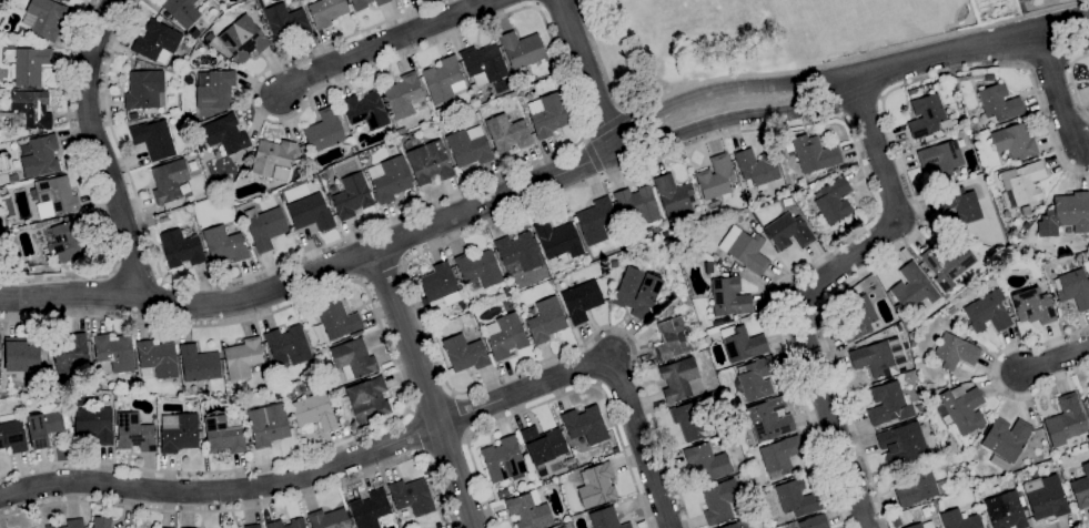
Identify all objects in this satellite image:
building: (64, 0)
building: (365, 3)
building: (260, 4)
building: (183, 11)
building: (325, 12)
building: (42, 19)
building: (285, 23)
building: (209, 38)
building: (242, 39)
building: (155, 42)
road: (385, 44)
park: (684, 44)
building: (184, 49)
building: (521, 50)
building: (483, 64)
building: (28, 65)
road: (796, 71)
road: (583, 74)
building: (443, 80)
road: (1072, 80)
building: (950, 81)
building: (143, 90)
building: (214, 90)
road: (1057, 91)
building: (911, 92)
building: (520, 93)
building: (403, 97)
building: (998, 103)
building: (365, 110)
building: (27, 113)
building: (547, 115)
building: (925, 115)
building: (323, 131)
building: (401, 132)
building: (507, 133)
building: (224, 134)
building: (153, 140)
building: (400, 140)
building: (1012, 143)
building: (467, 148)
road: (98, 149)
building: (303, 150)
road: (557, 153)
building: (813, 153)
building: (40, 158)
building: (940, 158)
building: (273, 160)
building: (428, 163)
building: (756, 167)
building: (988, 176)
road: (544, 177)
building: (715, 179)
building: (13, 180)
building: (391, 180)
building: (169, 181)
road: (592, 183)
building: (1021, 184)
building: (810, 185)
road: (89, 187)
building: (672, 195)
building: (351, 196)
building: (54, 197)
road: (916, 199)
building: (833, 201)
building: (637, 204)
building: (959, 205)
building: (1025, 211)
building: (310, 213)
building: (1066, 215)
building: (594, 221)
building: (264, 227)
building: (1068, 231)
building: (788, 232)
building: (664, 233)
building: (1015, 237)
building: (65, 240)
building: (557, 240)
building: (224, 245)
building: (181, 247)
building: (744, 250)
building: (517, 252)
building: (998, 254)
building: (1077, 256)
building: (714, 257)
building: (613, 264)
building: (947, 265)
building: (478, 267)
building: (708, 267)
road: (112, 271)
road: (381, 273)
building: (928, 274)
road: (138, 278)
road: (162, 283)
building: (438, 286)
building: (473, 286)
building: (912, 287)
road: (813, 290)
building: (1072, 290)
building: (636, 292)
building: (505, 293)
building: (1051, 295)
building: (728, 297)
building: (581, 301)
building: (1032, 306)
building: (987, 313)
building: (856, 319)
building: (545, 321)
building: (334, 322)
building: (504, 336)
building: (672, 339)
building: (740, 344)
building: (288, 346)
building: (264, 351)
building: (955, 352)
building: (70, 353)
building: (112, 354)
building: (464, 354)
building: (20, 355)
building: (316, 355)
building: (158, 358)
building: (242, 358)
building: (353, 359)
building: (874, 359)
road: (1056, 362)
building: (199, 364)
road: (396, 370)
road: (997, 376)
building: (677, 379)
building: (755, 379)
road: (426, 387)
building: (184, 390)
building: (278, 394)
building: (118, 397)
road: (557, 398)
building: (233, 399)
building: (367, 400)
building: (700, 400)
road: (430, 403)
building: (1087, 403)
building: (888, 404)
building: (960, 409)
building: (313, 412)
road: (460, 416)
building: (767, 420)
building: (1065, 422)
building: (692, 423)
building: (93, 424)
building: (266, 425)
building: (584, 425)
building: (44, 428)
building: (179, 433)
building: (133, 434)
road: (414, 434)
building: (11, 435)
building: (223, 435)
building: (1006, 439)
road: (637, 443)
building: (903, 444)
road: (444, 446)
building: (542, 446)
building: (948, 454)
building: (779, 456)
building: (503, 461)
building: (706, 463)
building: (999, 464)
building: (743, 467)
building: (965, 470)
road: (313, 474)
building: (596, 486)
building: (1067, 486)
building: (1081, 488)
building: (920, 489)
building: (502, 494)
building: (759, 494)
building: (411, 497)
building: (1045, 498)
building: (796, 499)
building: (718, 501)
road: (253, 506)
building: (369, 509)
building: (1005, 510)
building: (528, 512)
building: (327, 519)
building: (605, 519)
building: (958, 520)
building: (101, 522)
building: (296, 522)
building: (814, 522)
building: (74, 524)
building: (737, 525)
building: (52, 526)
building: (252, 526)
building: (437, 526)
building: (921, 526)
road: (1085, 526)
building: (158, 527)

